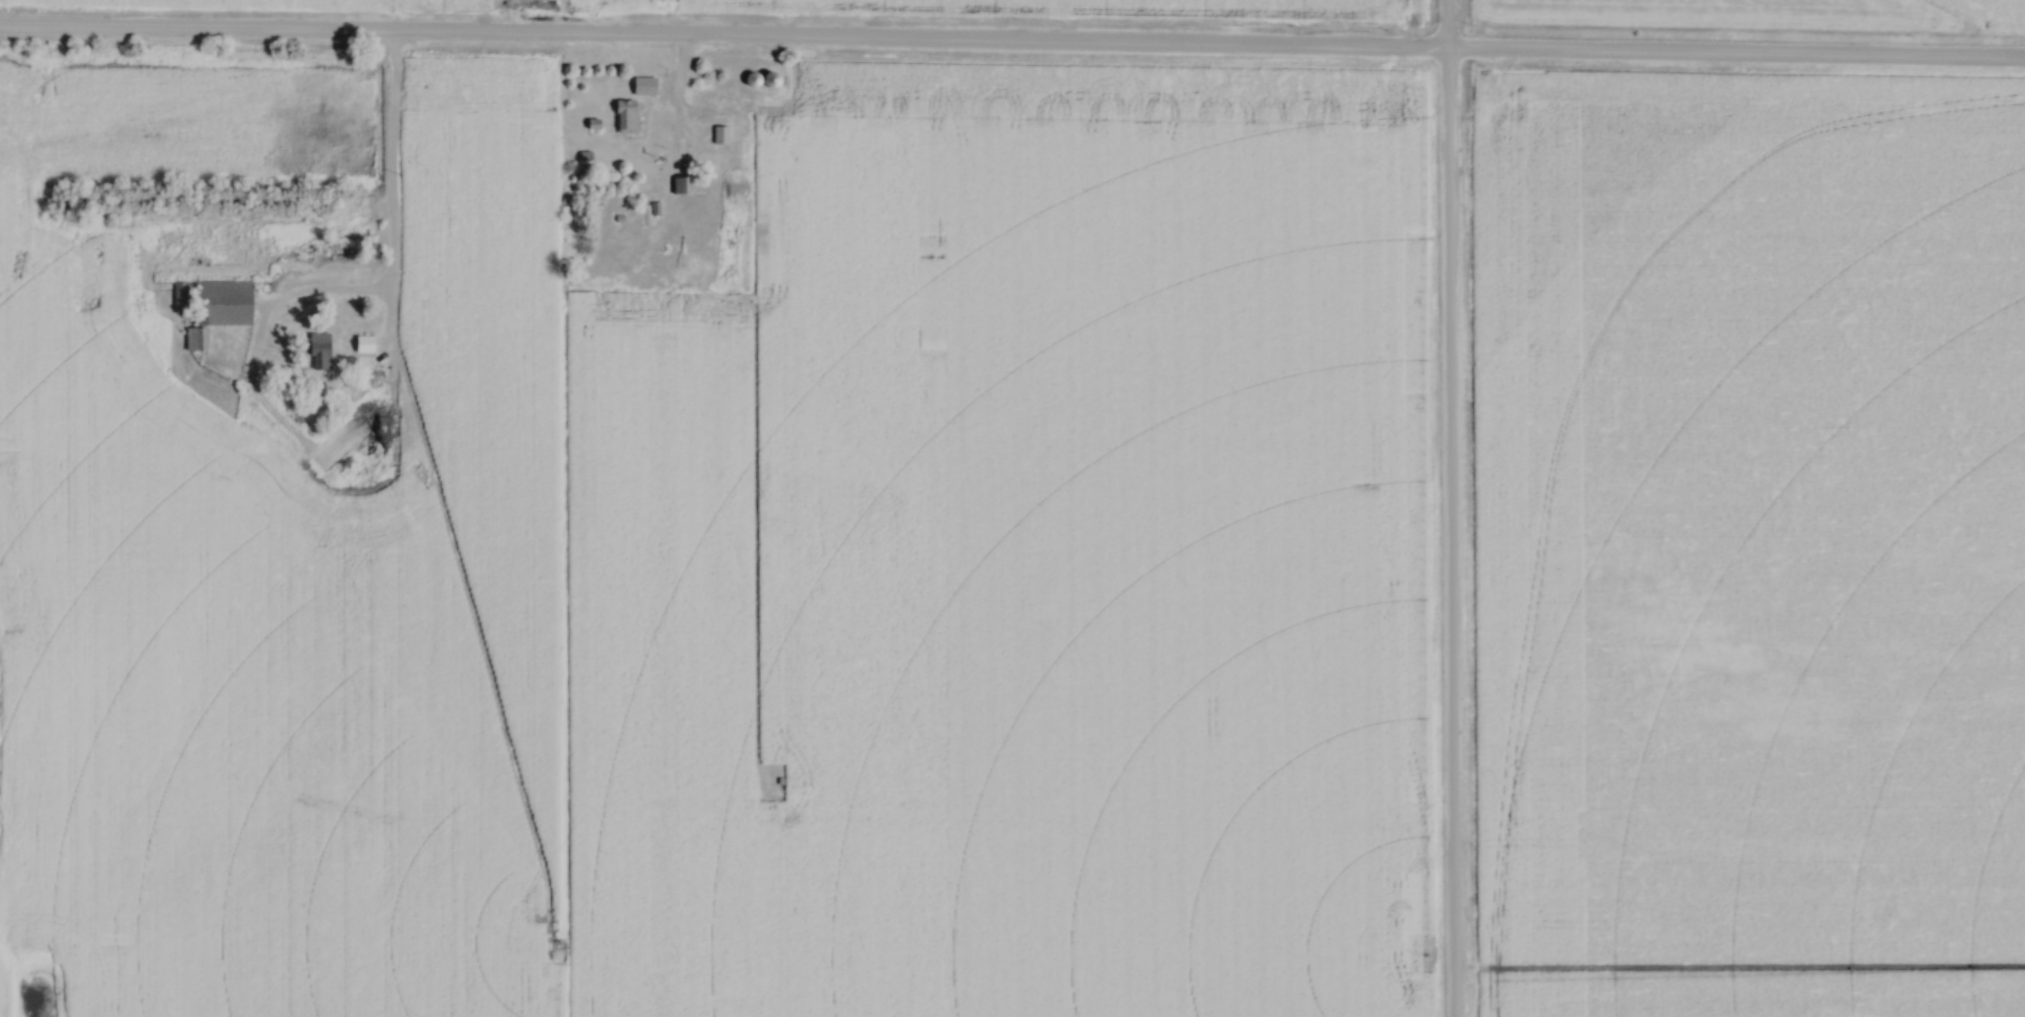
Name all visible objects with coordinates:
road: (1012, 48)
building: (769, 80)
building: (643, 86)
building: (625, 116)
building: (718, 135)
building: (677, 185)
road: (386, 200)
building: (179, 298)
building: (223, 303)
building: (192, 339)
building: (363, 345)
building: (319, 352)
road: (1446, 508)

